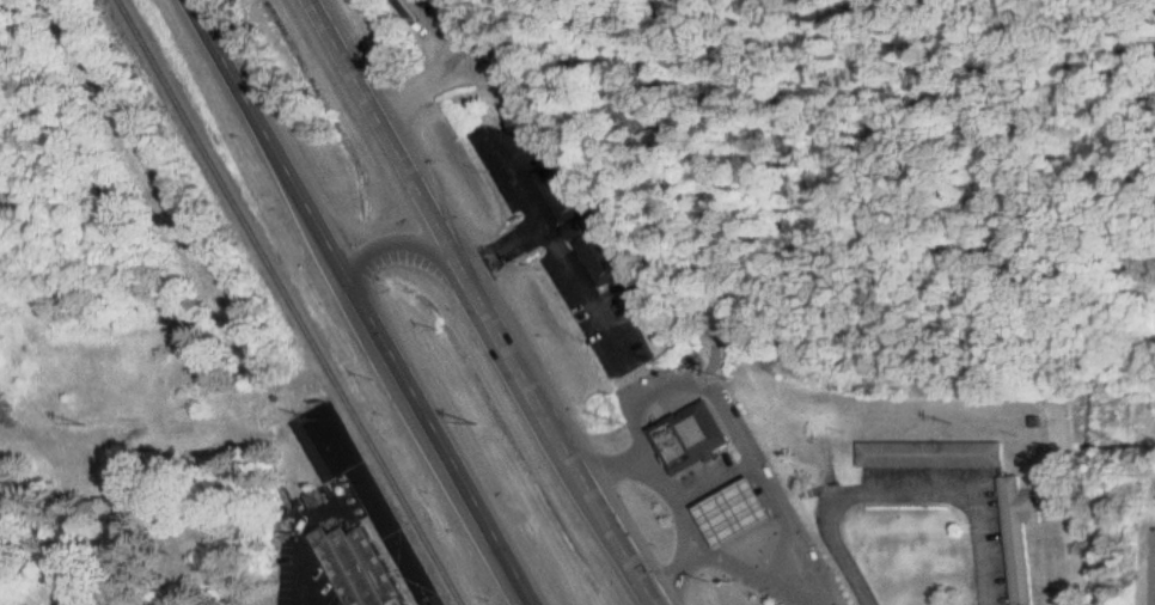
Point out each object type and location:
road: (561, 127)
road: (393, 140)
road: (277, 148)
building: (577, 221)
road: (506, 242)
road: (564, 245)
road: (409, 256)
railway: (292, 301)
road: (715, 386)
building: (692, 436)
road: (564, 444)
road: (450, 451)
building: (929, 454)
road: (903, 490)
road: (673, 497)
road: (342, 499)
building: (737, 512)
building: (1016, 536)
road: (808, 555)
building: (356, 567)
road: (753, 577)
road: (1154, 591)

